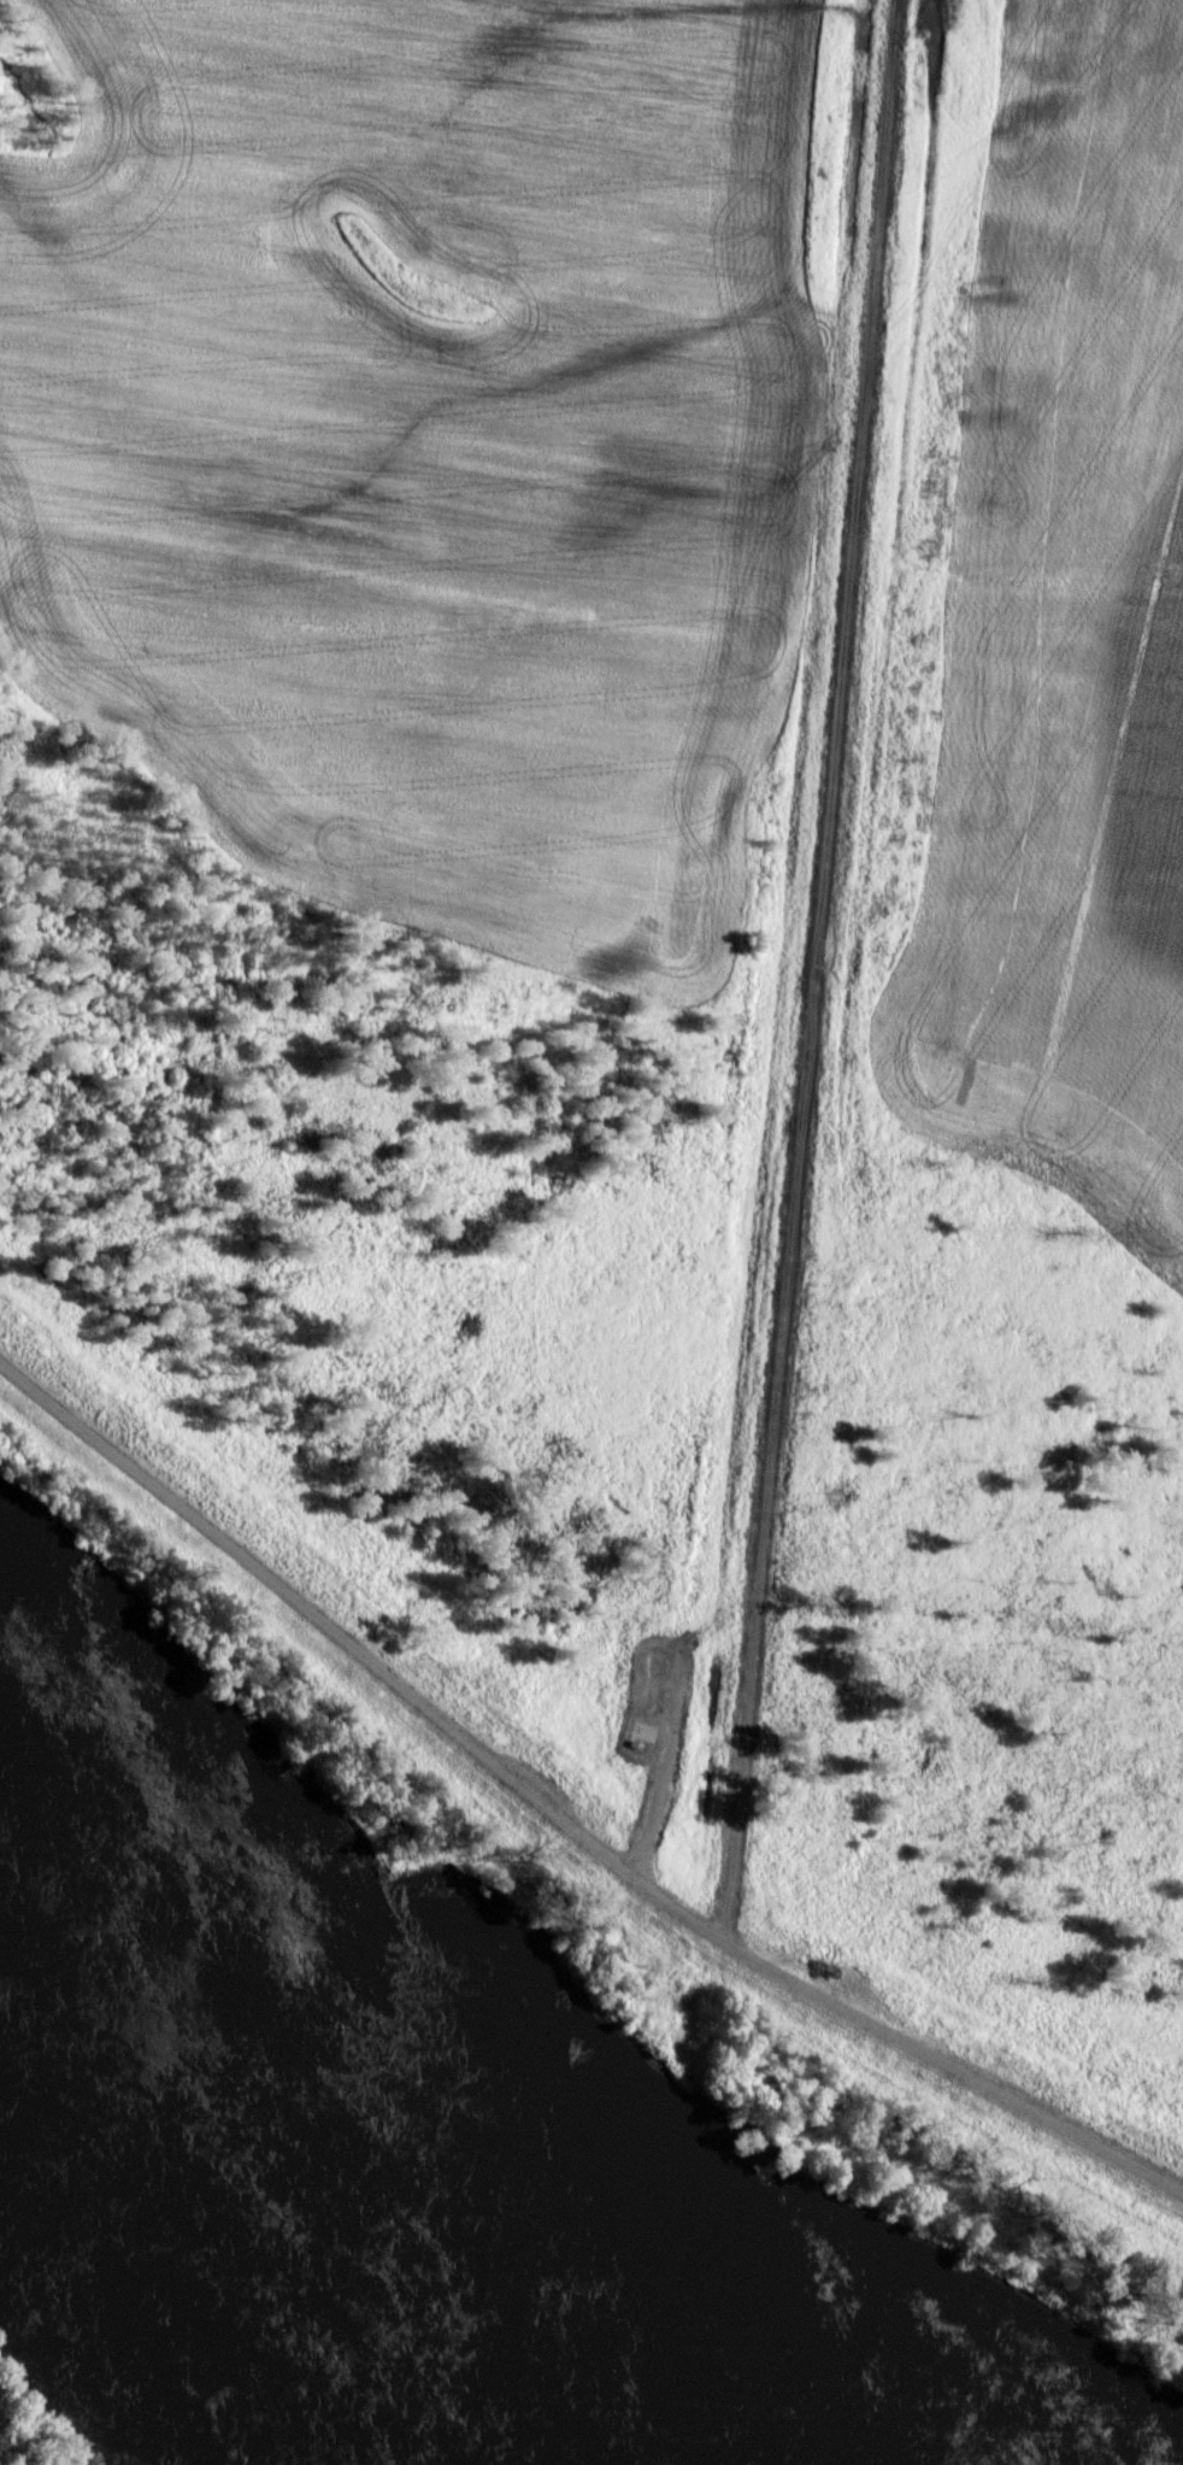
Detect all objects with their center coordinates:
road: (813, 962)
road: (558, 1820)
river: (354, 2154)

